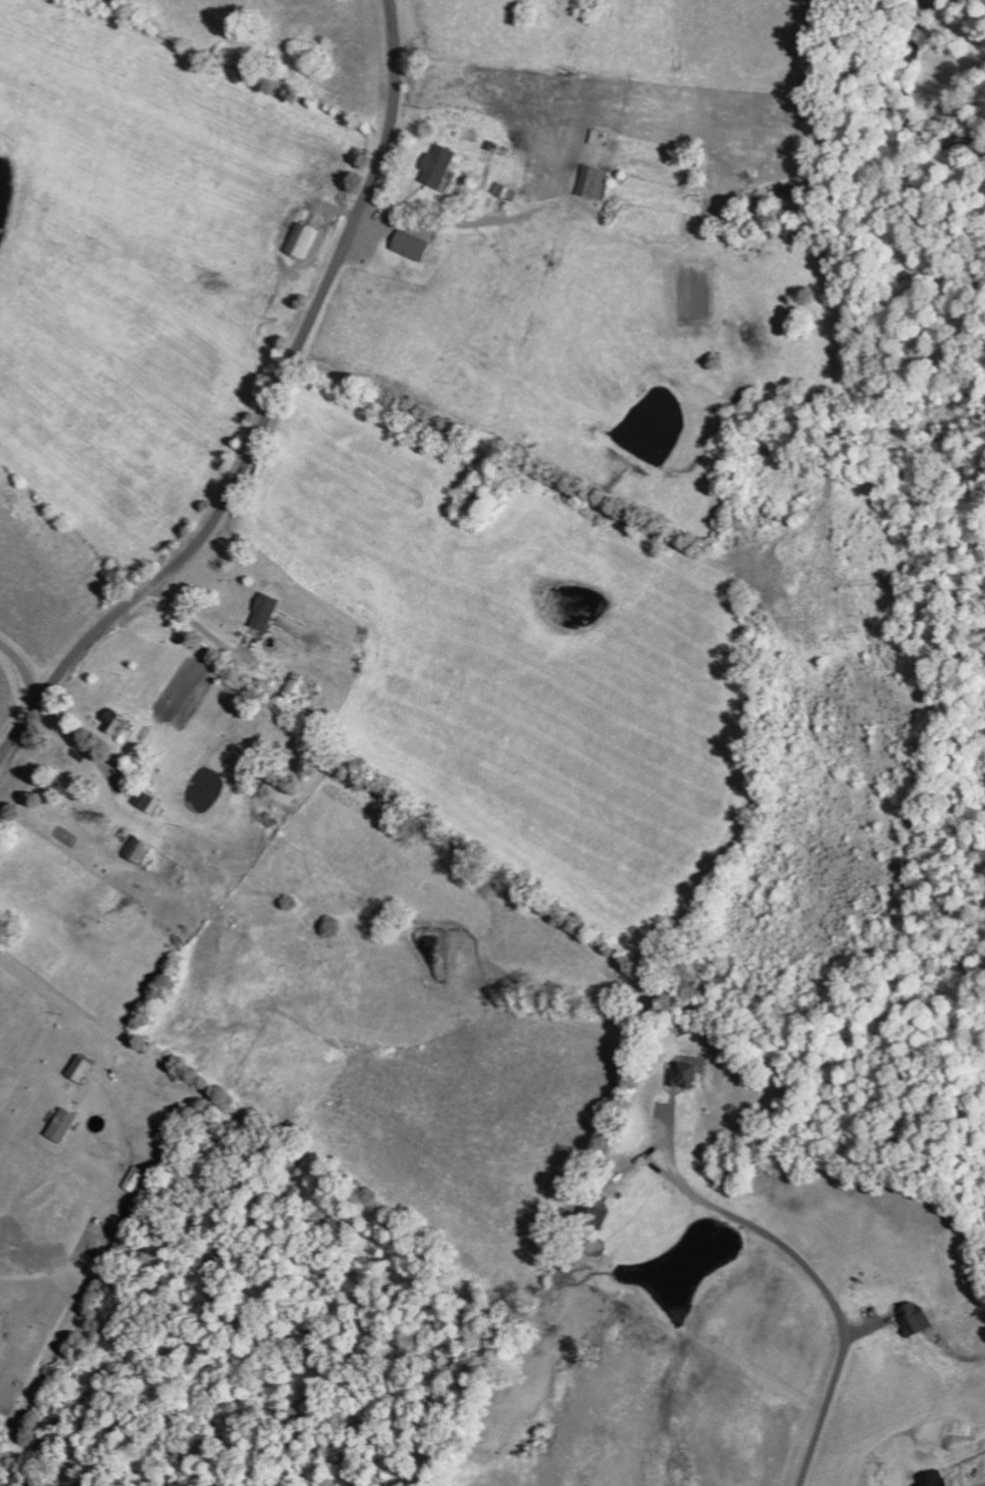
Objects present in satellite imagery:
building: (595, 137)
building: (438, 167)
building: (593, 183)
building: (505, 192)
building: (302, 241)
building: (411, 246)
road: (266, 411)
building: (265, 611)
road: (158, 617)
building: (293, 683)
building: (117, 722)
building: (148, 802)
building: (139, 851)
building: (80, 1069)
building: (688, 1073)
building: (62, 1125)
building: (597, 1217)
building: (916, 1319)

